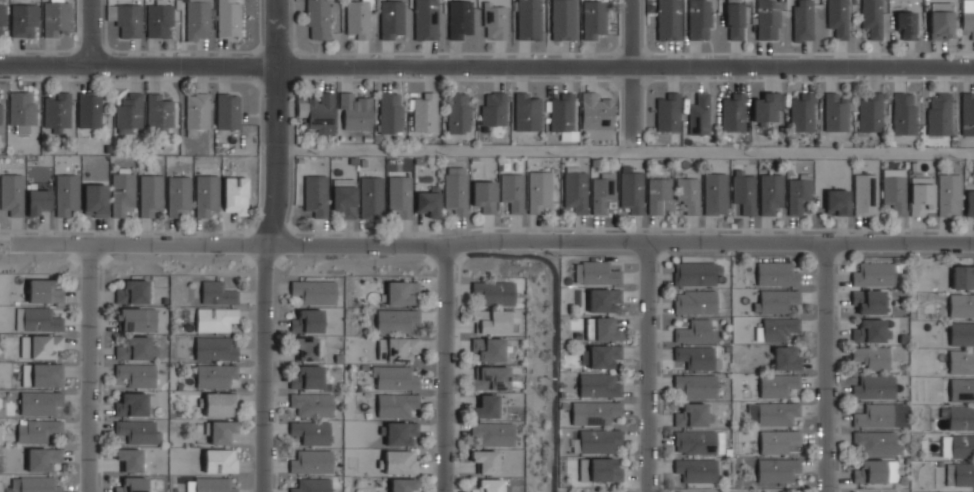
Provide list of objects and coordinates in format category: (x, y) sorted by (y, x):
building: (2, 16)
building: (594, 17)
building: (838, 17)
building: (872, 17)
building: (968, 17)
building: (57, 18)
building: (126, 18)
building: (229, 18)
building: (460, 18)
building: (23, 19)
building: (159, 19)
building: (199, 19)
building: (318, 19)
building: (358, 19)
building: (392, 19)
building: (426, 19)
building: (495, 19)
building: (529, 19)
building: (563, 19)
building: (668, 19)
building: (699, 19)
building: (767, 19)
building: (734, 20)
building: (803, 20)
building: (941, 20)
building: (905, 24)
road: (630, 33)
road: (89, 34)
road: (486, 66)
building: (493, 107)
building: (767, 107)
building: (22, 108)
road: (631, 108)
building: (89, 109)
building: (196, 110)
building: (228, 110)
building: (356, 110)
building: (526, 110)
building: (596, 110)
building: (836, 110)
building: (57, 111)
building: (319, 111)
building: (425, 111)
building: (561, 111)
building: (668, 111)
building: (802, 111)
building: (870, 111)
building: (391, 112)
building: (459, 112)
building: (732, 112)
building: (904, 112)
building: (938, 112)
building: (129, 113)
building: (159, 113)
building: (699, 114)
building: (967, 114)
building: (0, 119)
road: (624, 149)
building: (576, 187)
building: (457, 188)
building: (512, 190)
building: (602, 190)
building: (632, 190)
building: (744, 190)
building: (539, 191)
building: (770, 191)
building: (123, 192)
building: (894, 192)
building: (11, 193)
building: (658, 193)
building: (688, 193)
building: (715, 193)
building: (798, 193)
building: (865, 193)
building: (67, 194)
building: (316, 194)
building: (401, 194)
building: (949, 194)
building: (151, 195)
building: (179, 195)
building: (207, 195)
building: (235, 195)
building: (485, 195)
building: (920, 196)
building: (372, 197)
building: (96, 199)
building: (38, 200)
building: (344, 200)
building: (428, 200)
building: (837, 202)
building: (970, 202)
road: (493, 239)
road: (264, 245)
road: (391, 257)
building: (595, 272)
building: (695, 273)
building: (776, 273)
building: (874, 273)
building: (963, 276)
building: (43, 291)
building: (315, 291)
building: (403, 291)
building: (494, 291)
building: (132, 292)
building: (217, 292)
building: (774, 299)
building: (604, 300)
building: (867, 301)
building: (694, 302)
building: (961, 305)
building: (216, 317)
building: (38, 319)
building: (136, 319)
building: (398, 320)
building: (494, 320)
building: (308, 321)
building: (778, 328)
building: (601, 329)
building: (869, 330)
building: (694, 331)
building: (962, 334)
building: (42, 346)
building: (137, 348)
building: (215, 348)
building: (306, 348)
building: (398, 348)
building: (489, 348)
building: (600, 355)
building: (696, 357)
building: (786, 357)
building: (871, 358)
building: (961, 361)
road: (647, 366)
road: (826, 367)
road: (89, 368)
road: (444, 369)
building: (137, 373)
building: (43, 374)
building: (213, 375)
building: (308, 377)
building: (394, 377)
building: (491, 377)
building: (777, 383)
building: (599, 384)
building: (696, 384)
building: (873, 387)
building: (962, 390)
building: (39, 401)
building: (131, 403)
building: (220, 404)
building: (312, 404)
building: (397, 404)
building: (485, 406)
building: (594, 411)
building: (777, 412)
building: (694, 415)
building: (874, 417)
building: (959, 417)
building: (38, 429)
building: (137, 430)
building: (222, 432)
building: (311, 432)
building: (402, 432)
building: (493, 432)
building: (596, 440)
building: (777, 440)
building: (696, 441)
building: (719, 442)
building: (876, 442)
building: (958, 445)
building: (42, 458)
building: (129, 458)
building: (486, 459)
building: (401, 461)
building: (220, 462)
building: (311, 462)
building: (696, 468)
building: (777, 469)
building: (599, 470)
building: (869, 472)
building: (960, 473)
building: (35, 484)
building: (403, 484)
building: (492, 484)
building: (132, 485)
building: (212, 485)
building: (311, 485)

